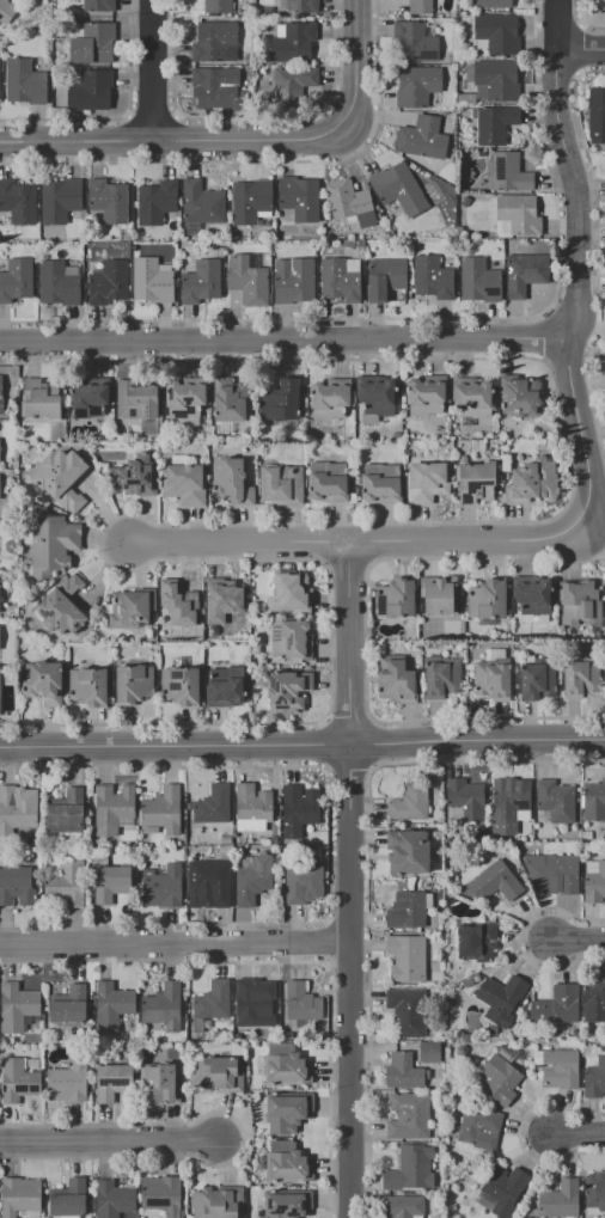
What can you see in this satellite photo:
building: (490, 4)
building: (98, 5)
building: (604, 5)
building: (218, 6)
building: (295, 6)
building: (418, 6)
building: (6, 12)
road: (561, 24)
building: (496, 32)
building: (215, 42)
building: (93, 43)
building: (293, 43)
building: (412, 43)
road: (582, 48)
road: (153, 72)
building: (497, 79)
building: (25, 81)
building: (293, 84)
building: (416, 85)
building: (218, 87)
building: (88, 88)
building: (597, 112)
building: (495, 124)
building: (422, 137)
road: (318, 142)
road: (77, 145)
building: (508, 173)
building: (398, 189)
building: (299, 198)
building: (250, 200)
building: (60, 201)
building: (106, 201)
building: (155, 202)
building: (350, 202)
building: (17, 203)
building: (202, 203)
building: (517, 216)
building: (524, 273)
building: (385, 276)
building: (432, 276)
building: (341, 279)
building: (16, 280)
building: (249, 280)
building: (293, 280)
building: (151, 281)
building: (108, 282)
building: (201, 282)
building: (476, 282)
building: (57, 283)
road: (580, 286)
road: (286, 342)
building: (604, 372)
building: (92, 386)
building: (1, 394)
building: (518, 396)
building: (377, 397)
building: (426, 397)
building: (185, 399)
building: (473, 399)
building: (39, 400)
building: (136, 400)
building: (330, 400)
building: (232, 402)
building: (280, 402)
building: (135, 473)
building: (61, 478)
building: (232, 482)
building: (427, 482)
building: (476, 482)
building: (532, 482)
building: (184, 484)
building: (281, 484)
building: (328, 486)
building: (380, 488)
road: (467, 540)
road: (238, 541)
building: (53, 543)
building: (291, 592)
building: (439, 595)
building: (399, 596)
building: (533, 596)
building: (485, 599)
building: (579, 602)
building: (175, 605)
building: (62, 607)
building: (224, 607)
building: (128, 610)
building: (533, 618)
building: (289, 639)
building: (581, 678)
building: (441, 679)
building: (491, 679)
building: (396, 680)
building: (537, 681)
building: (43, 683)
building: (133, 683)
building: (179, 686)
building: (88, 687)
building: (288, 690)
building: (224, 692)
road: (302, 743)
building: (464, 801)
building: (594, 801)
building: (555, 802)
building: (410, 803)
building: (509, 803)
building: (213, 804)
building: (252, 807)
building: (298, 807)
building: (112, 808)
building: (163, 809)
building: (17, 812)
building: (66, 812)
building: (408, 851)
building: (560, 874)
building: (252, 880)
road: (349, 880)
building: (594, 881)
building: (210, 882)
building: (495, 882)
building: (72, 883)
building: (110, 883)
building: (304, 883)
building: (19, 886)
building: (163, 887)
building: (407, 910)
road: (580, 941)
building: (477, 942)
road: (175, 945)
building: (407, 957)
building: (500, 998)
building: (213, 999)
building: (594, 1000)
building: (301, 1002)
building: (253, 1003)
building: (69, 1004)
building: (112, 1005)
building: (557, 1005)
building: (18, 1006)
building: (161, 1009)
building: (407, 1012)
building: (429, 1052)
building: (287, 1065)
building: (560, 1069)
building: (403, 1071)
building: (218, 1076)
building: (594, 1078)
building: (500, 1079)
building: (18, 1081)
building: (112, 1081)
building: (69, 1082)
building: (163, 1084)
building: (287, 1110)
building: (409, 1116)
building: (479, 1127)
road: (580, 1137)
road: (105, 1144)
building: (288, 1167)
building: (410, 1169)
building: (501, 1189)
building: (599, 1192)
building: (163, 1194)
building: (20, 1195)
building: (67, 1195)
building: (114, 1200)
building: (560, 1200)
building: (218, 1202)
building: (288, 1202)
building: (404, 1206)

